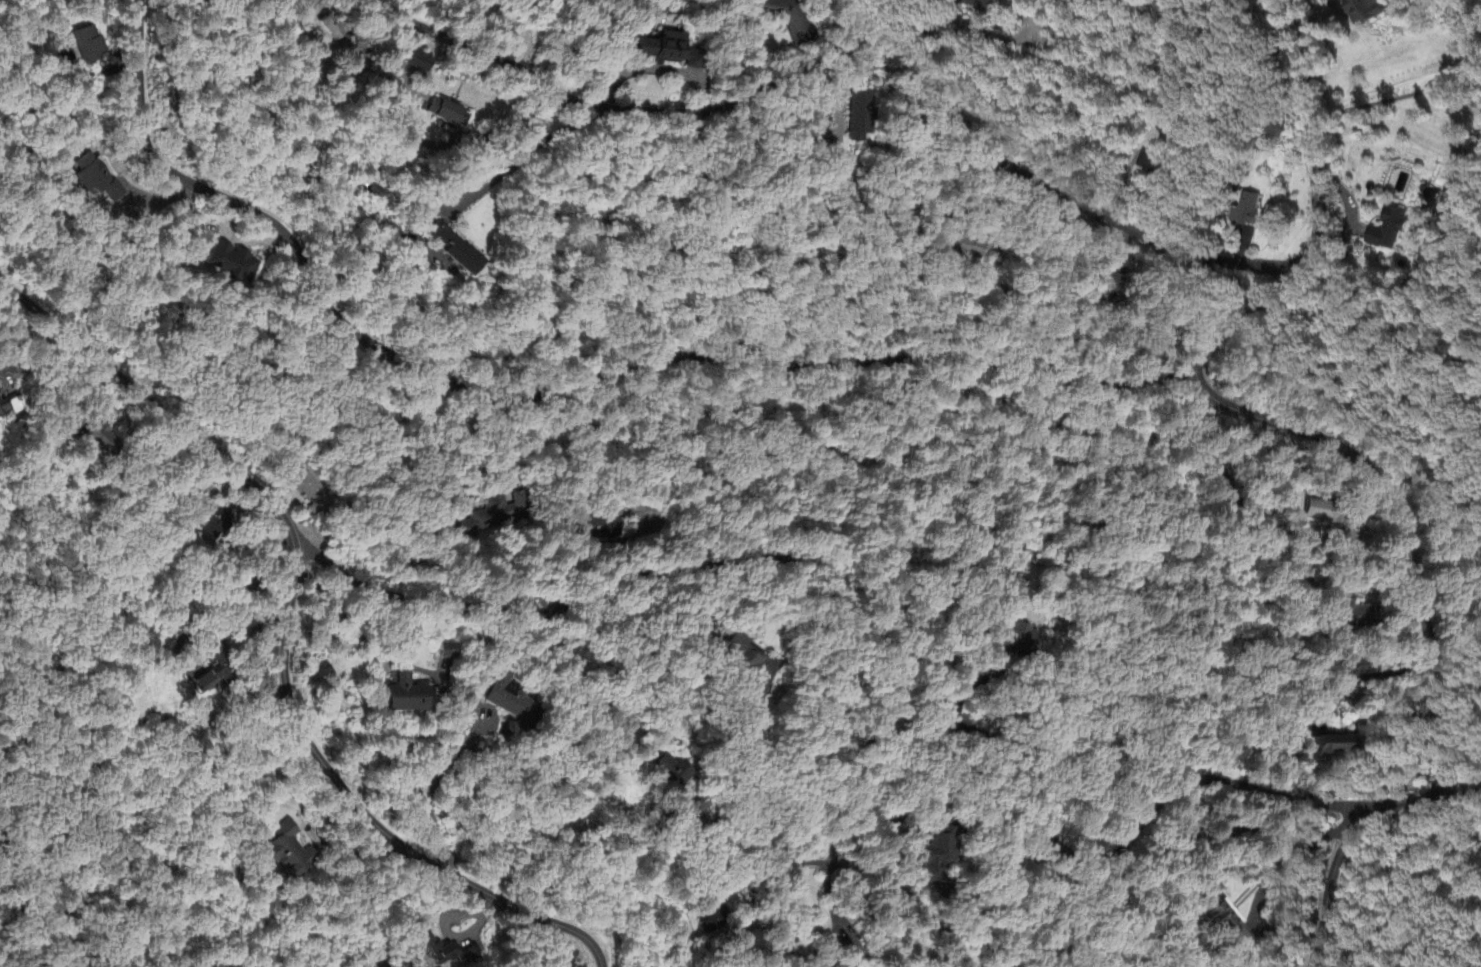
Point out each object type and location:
road: (867, 35)
road: (842, 95)
road: (509, 126)
road: (148, 146)
road: (528, 156)
road: (974, 180)
road: (706, 386)
road: (153, 410)
road: (1250, 412)
road: (419, 447)
road: (1229, 476)
road: (360, 636)
building: (1014, 642)
building: (447, 652)
building: (740, 659)
building: (1353, 669)
building: (215, 671)
road: (838, 682)
building: (407, 697)
building: (509, 701)
building: (1347, 745)
building: (670, 772)
road: (433, 787)
road: (1460, 798)
road: (1398, 809)
road: (367, 815)
road: (871, 819)
road: (901, 833)
building: (291, 852)
road: (342, 853)
building: (936, 859)
road: (800, 863)
road: (1263, 882)
road: (1400, 886)
road: (1328, 890)
building: (715, 920)
building: (1227, 927)
road: (978, 929)
building: (440, 951)
road: (806, 959)
road: (1310, 963)
building: (843, 966)

